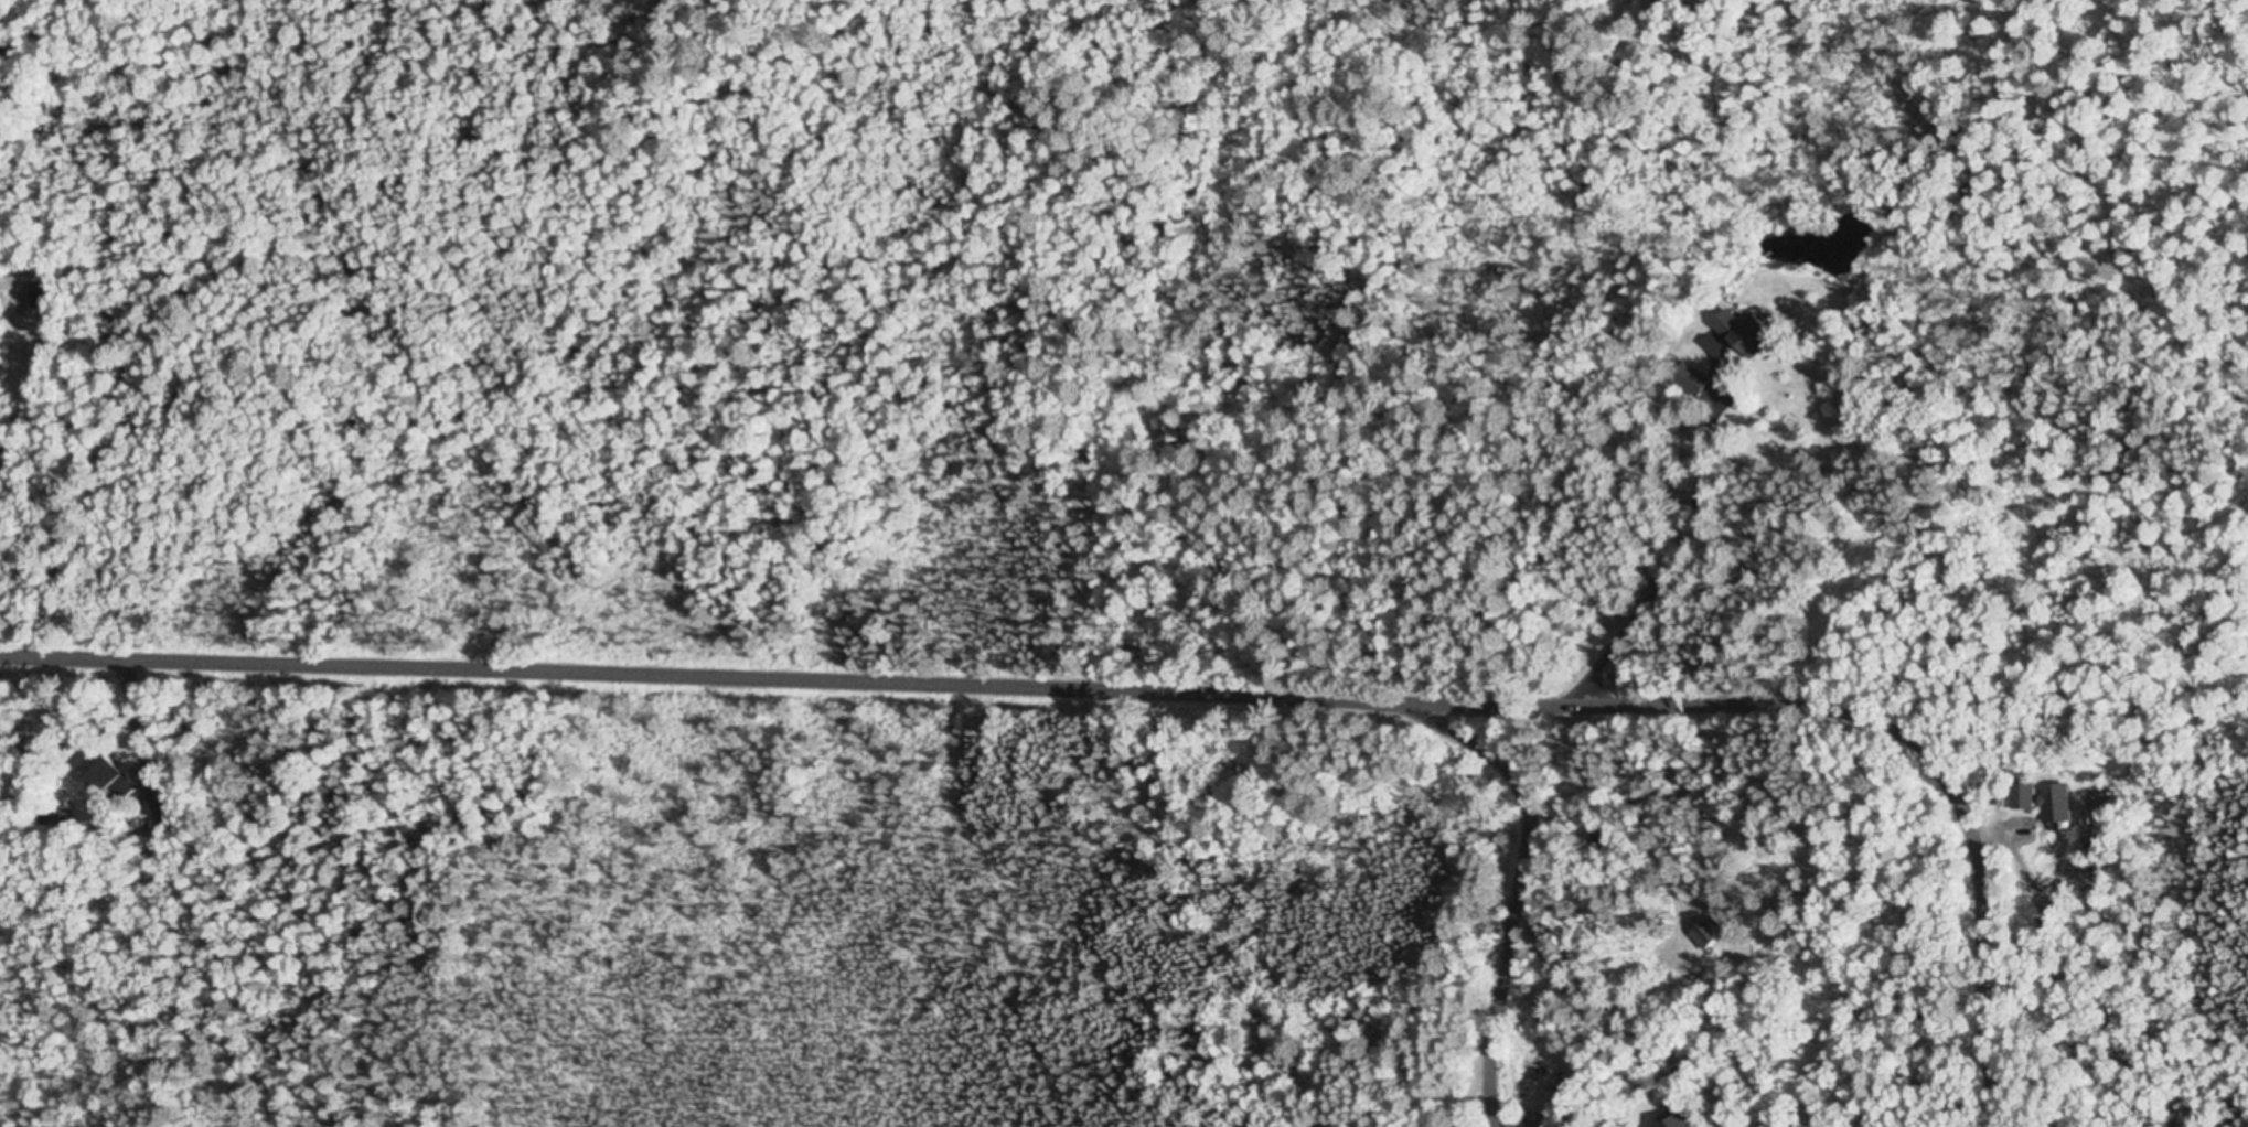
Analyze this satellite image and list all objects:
road: (46, 31)
building: (0, 316)
building: (1742, 334)
building: (1690, 380)
building: (1178, 431)
road: (1164, 690)
building: (106, 781)
road: (540, 825)
road: (1523, 878)
building: (1703, 935)
building: (1672, 1123)

